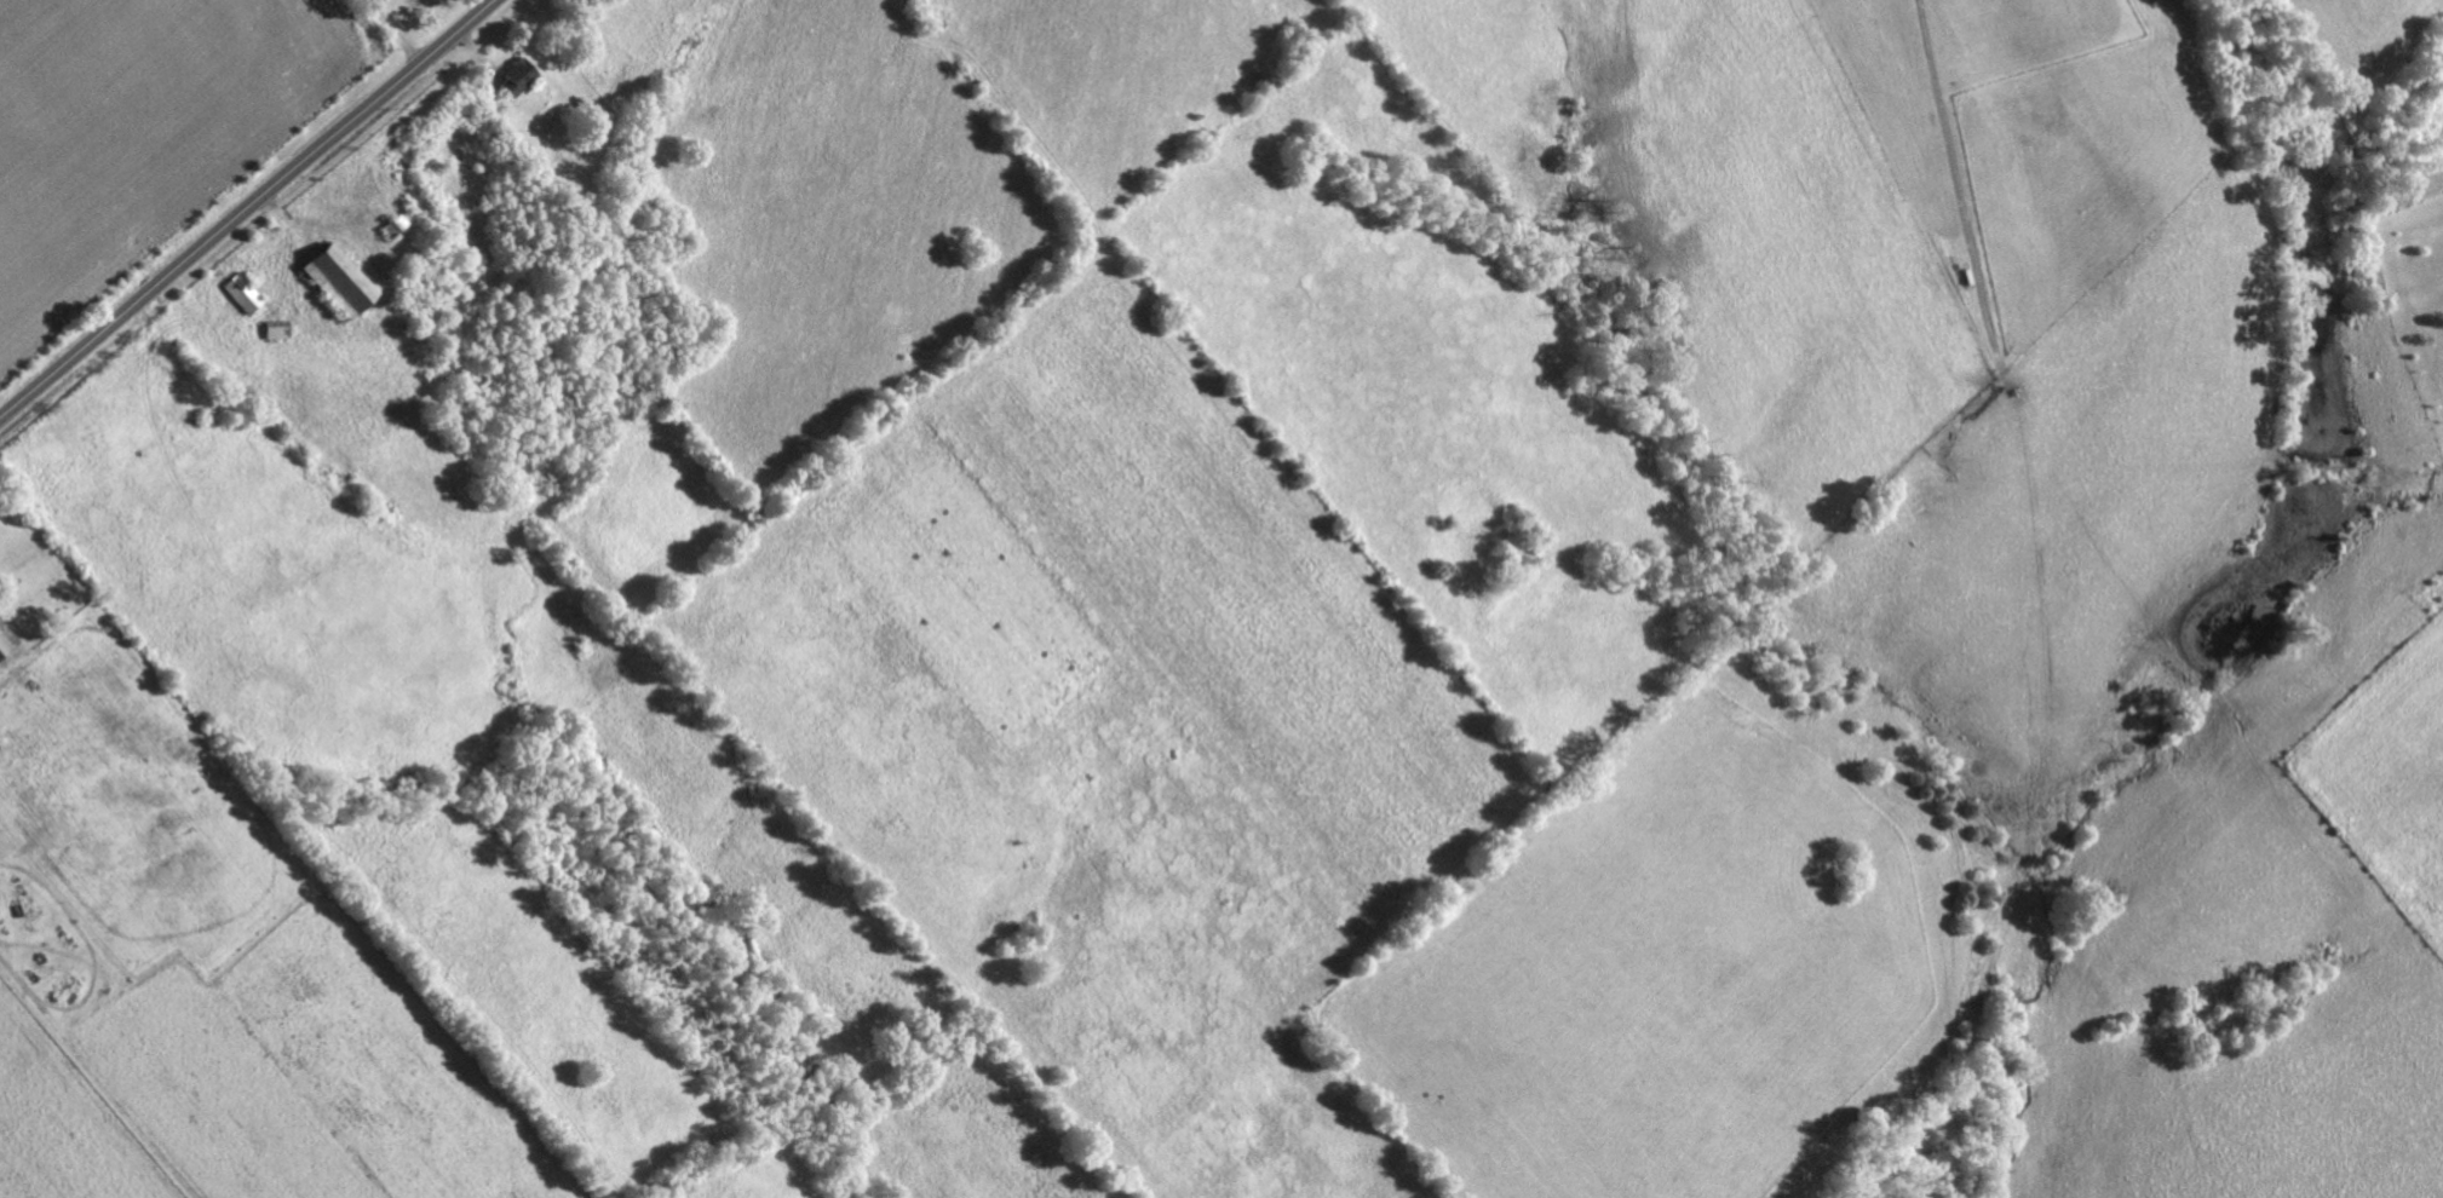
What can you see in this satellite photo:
road: (393, 33)
building: (513, 74)
road: (249, 211)
building: (338, 278)
building: (5, 635)

